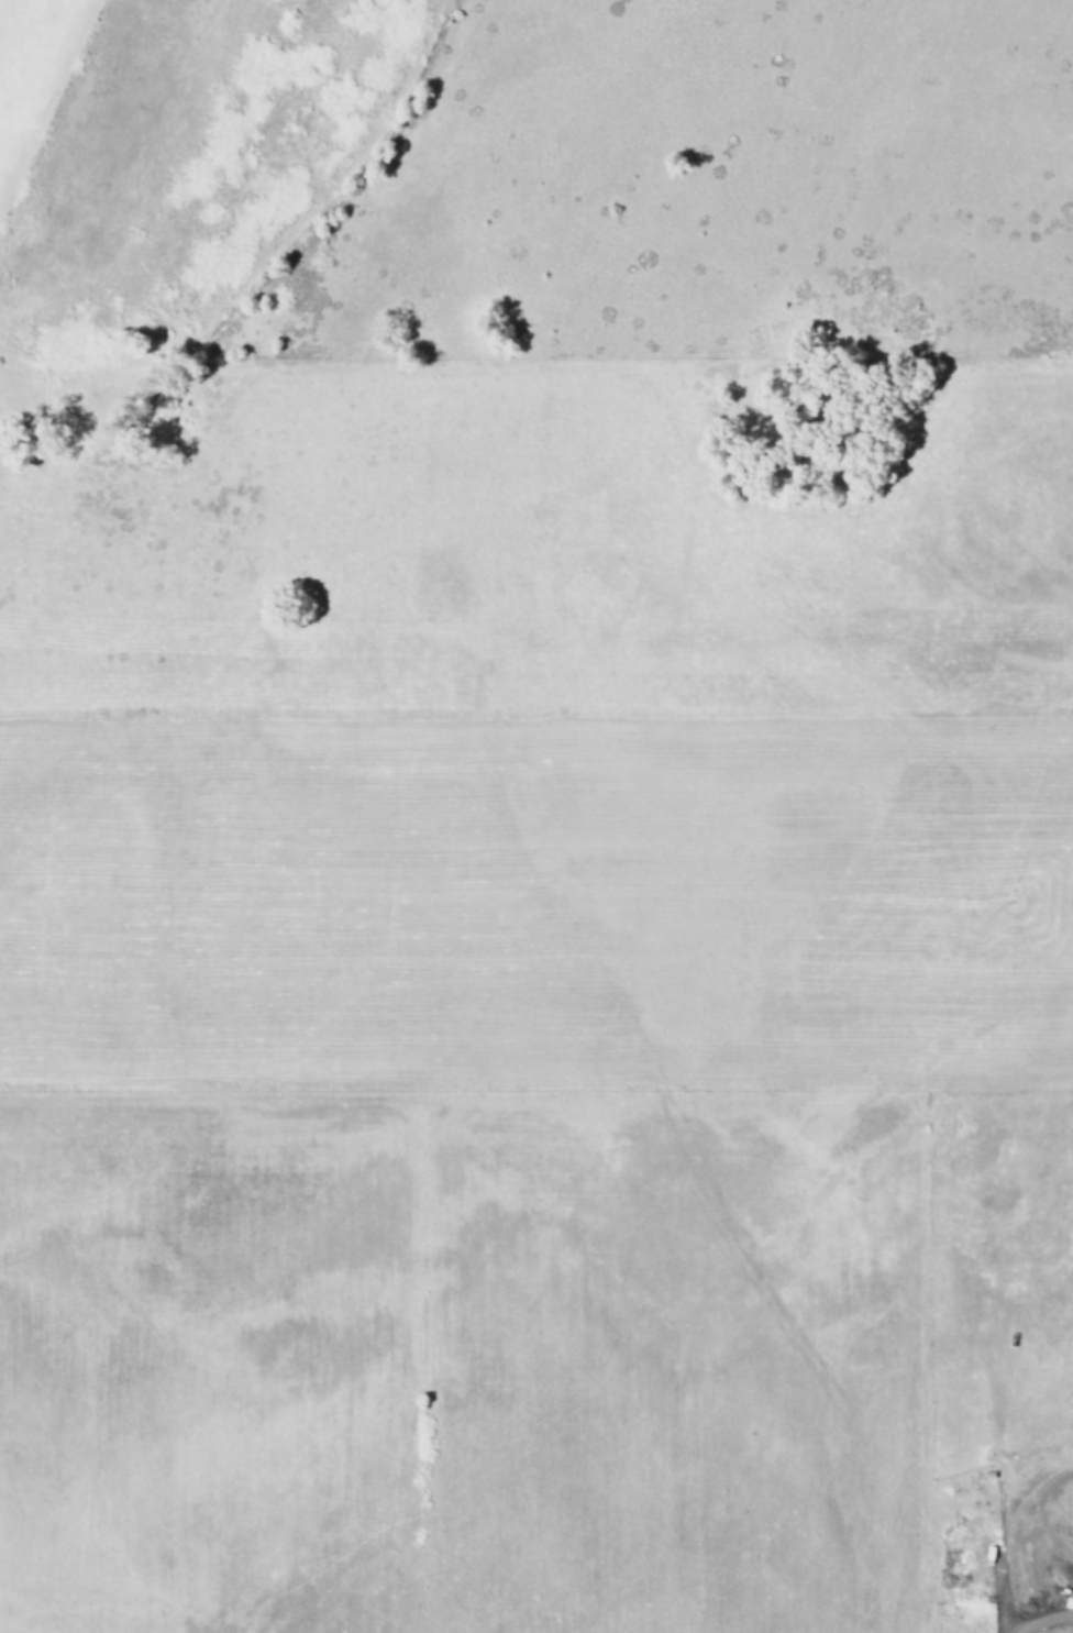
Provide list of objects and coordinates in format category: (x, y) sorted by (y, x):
road: (998, 1578)

